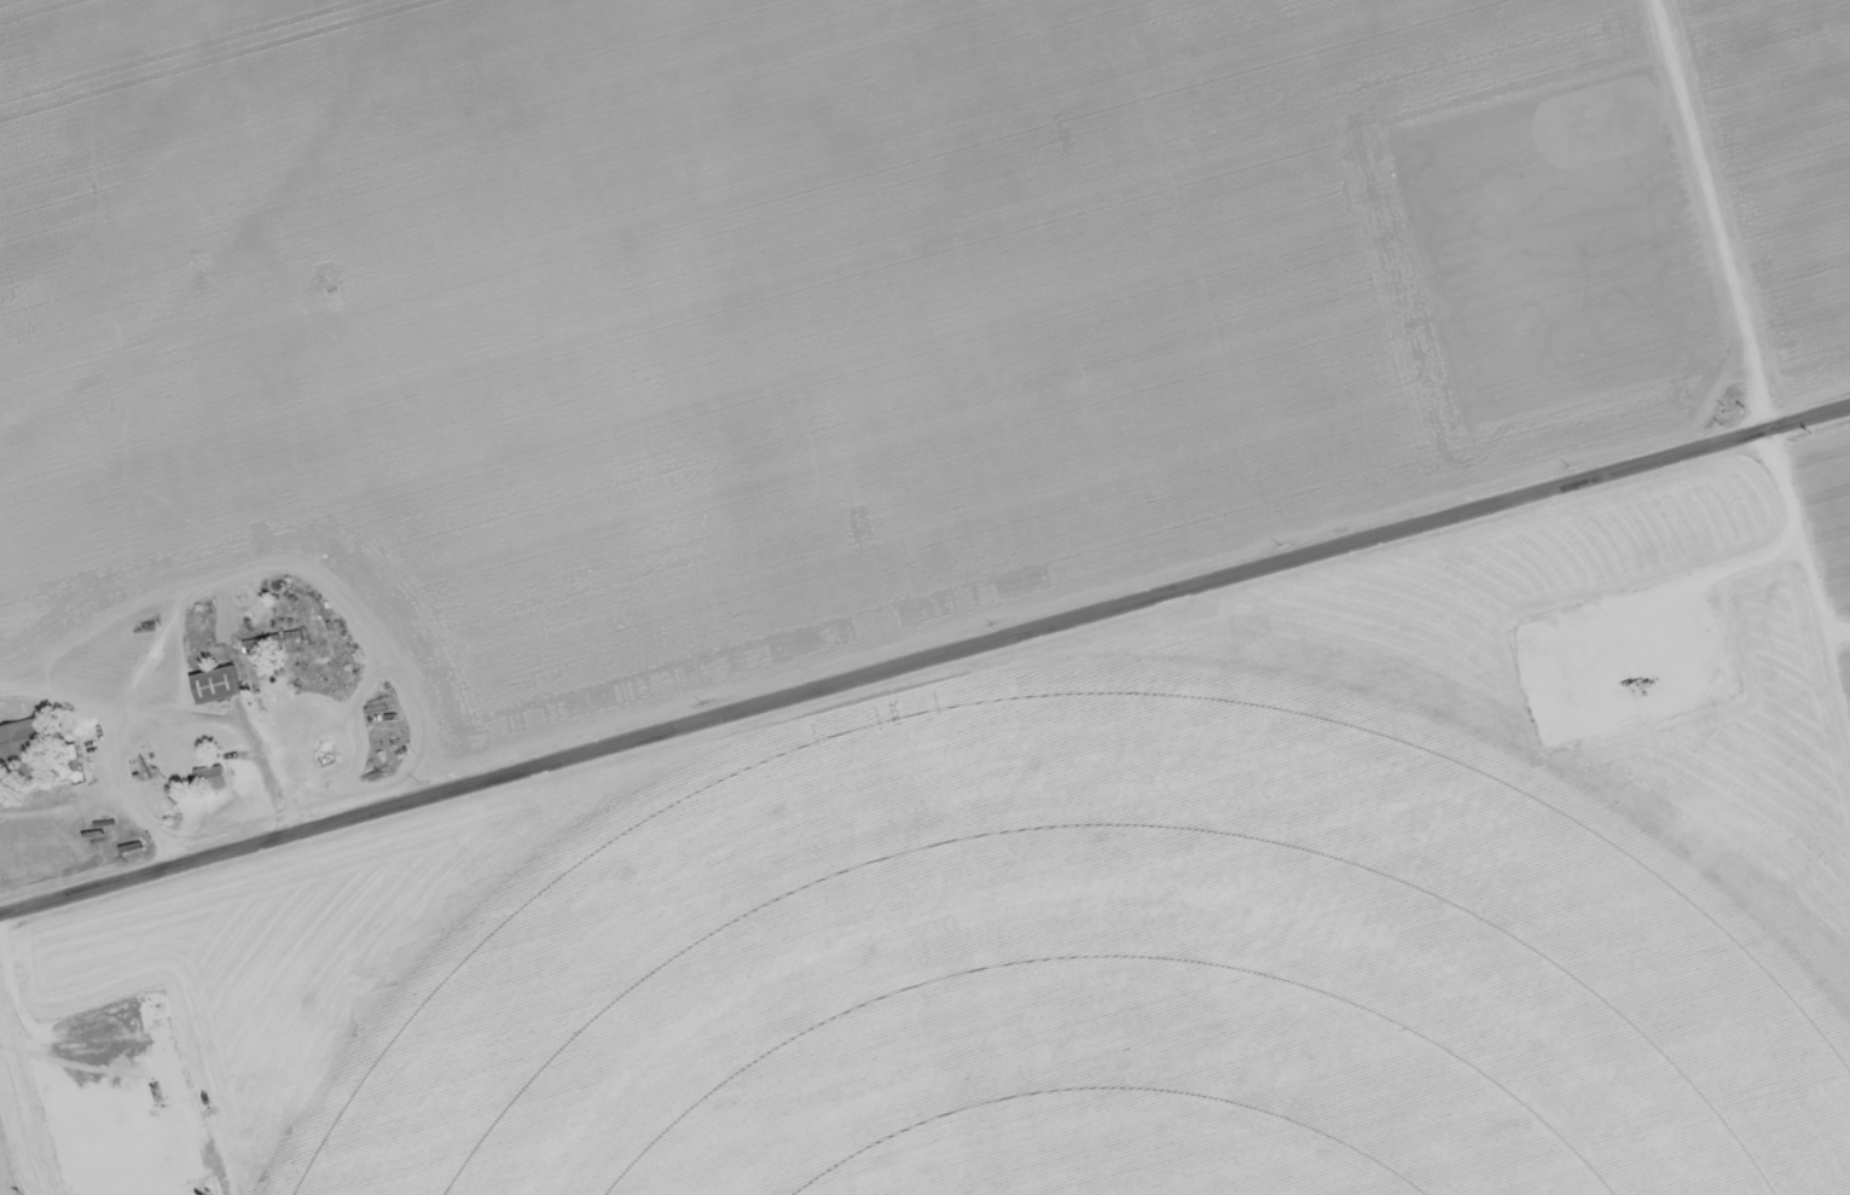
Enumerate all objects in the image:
road: (1717, 220)
building: (261, 644)
road: (924, 672)
building: (215, 685)
building: (19, 748)
building: (210, 779)

